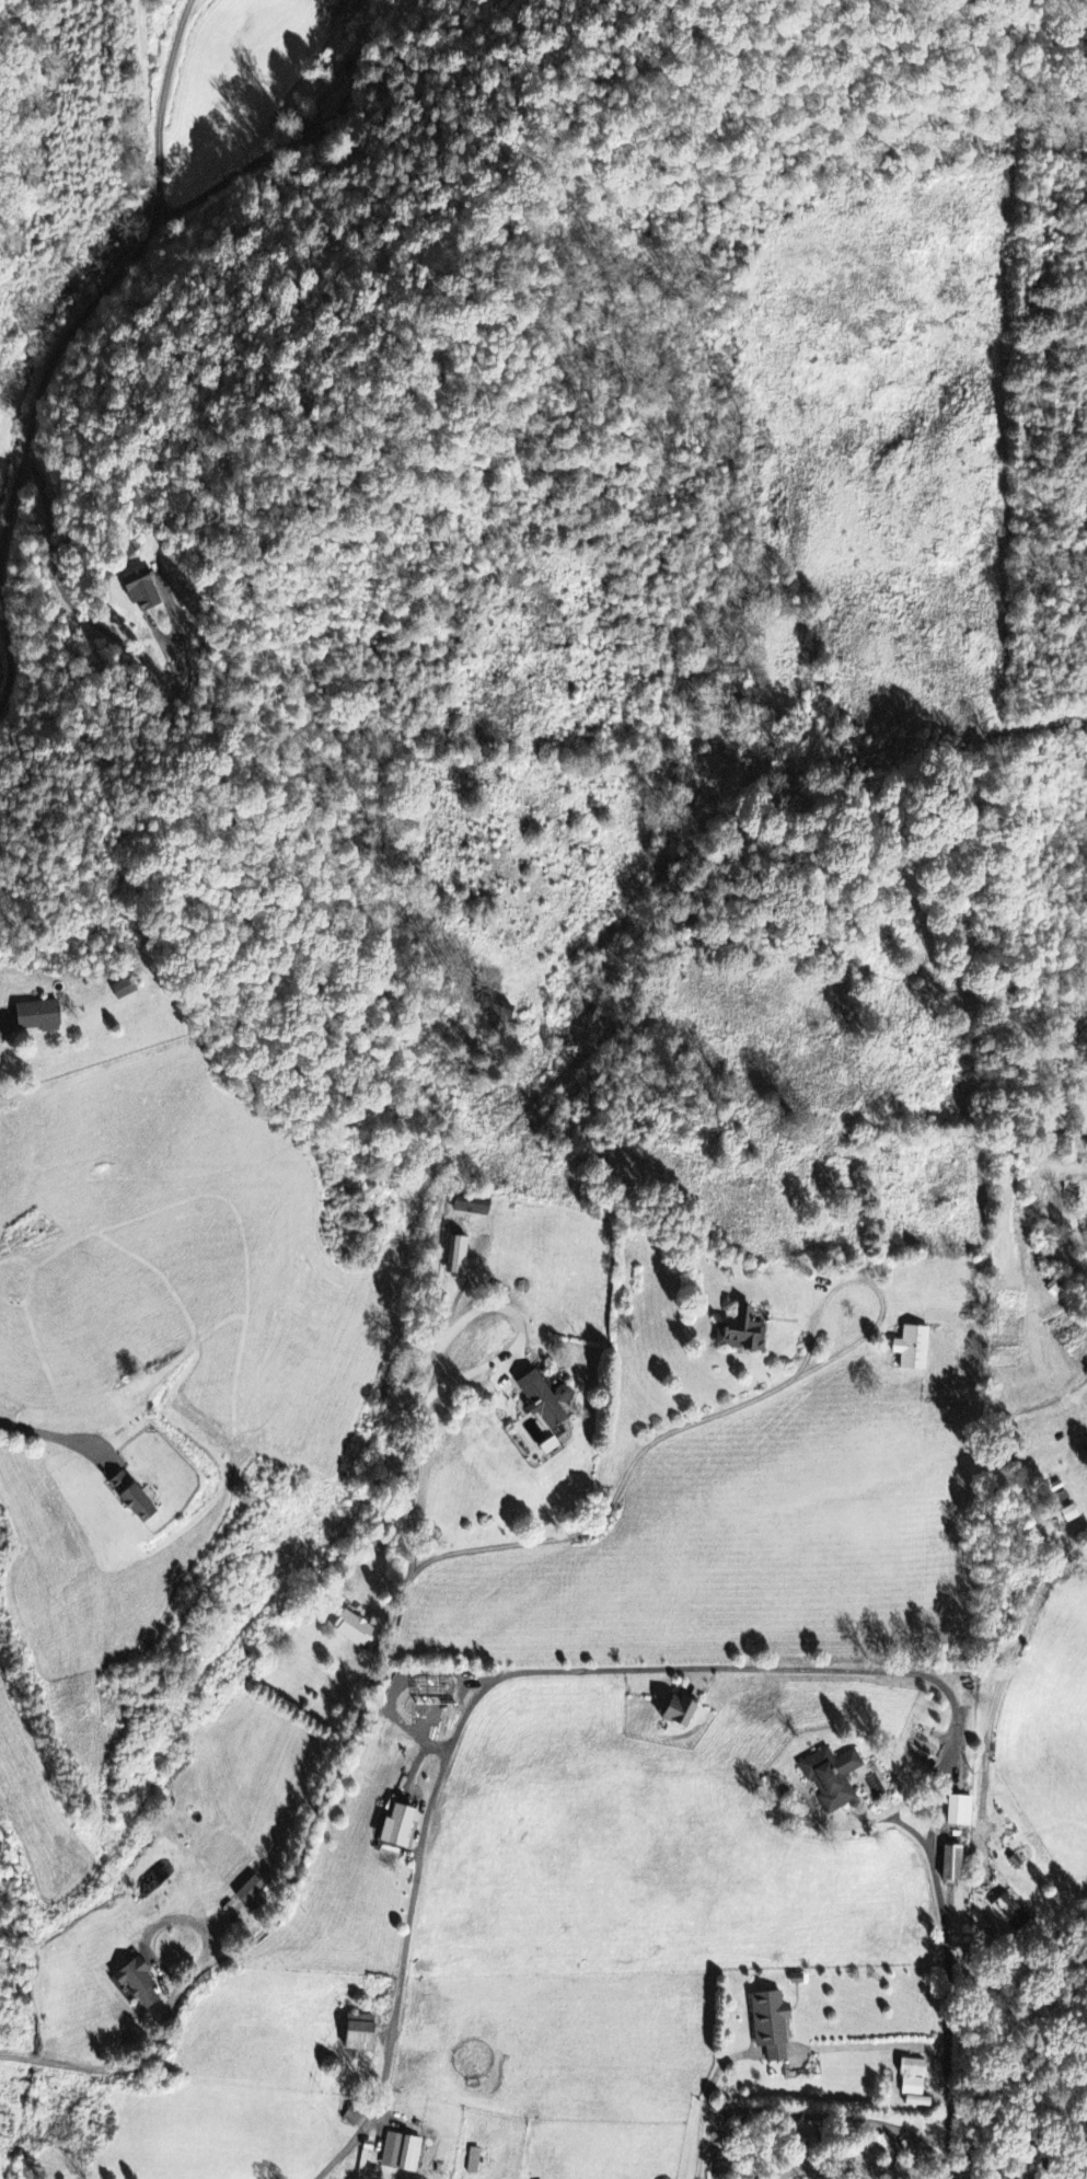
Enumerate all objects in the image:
building: (158, 1)
road: (107, 359)
building: (137, 592)
building: (122, 990)
building: (42, 1016)
building: (470, 1208)
building: (451, 1257)
building: (738, 1334)
building: (909, 1350)
building: (541, 1400)
road: (719, 1414)
road: (48, 1437)
building: (138, 1498)
building: (1061, 1515)
building: (350, 1629)
road: (531, 1669)
road: (1007, 1671)
building: (672, 1713)
road: (343, 1743)
building: (823, 1779)
building: (955, 1812)
building: (392, 1829)
building: (947, 1866)
building: (254, 1891)
building: (1007, 1913)
building: (141, 1983)
road: (948, 1990)
building: (766, 2025)
building: (352, 2033)
road: (12, 2055)
road: (32, 2059)
building: (911, 2084)
building: (397, 2153)
building: (471, 2161)

